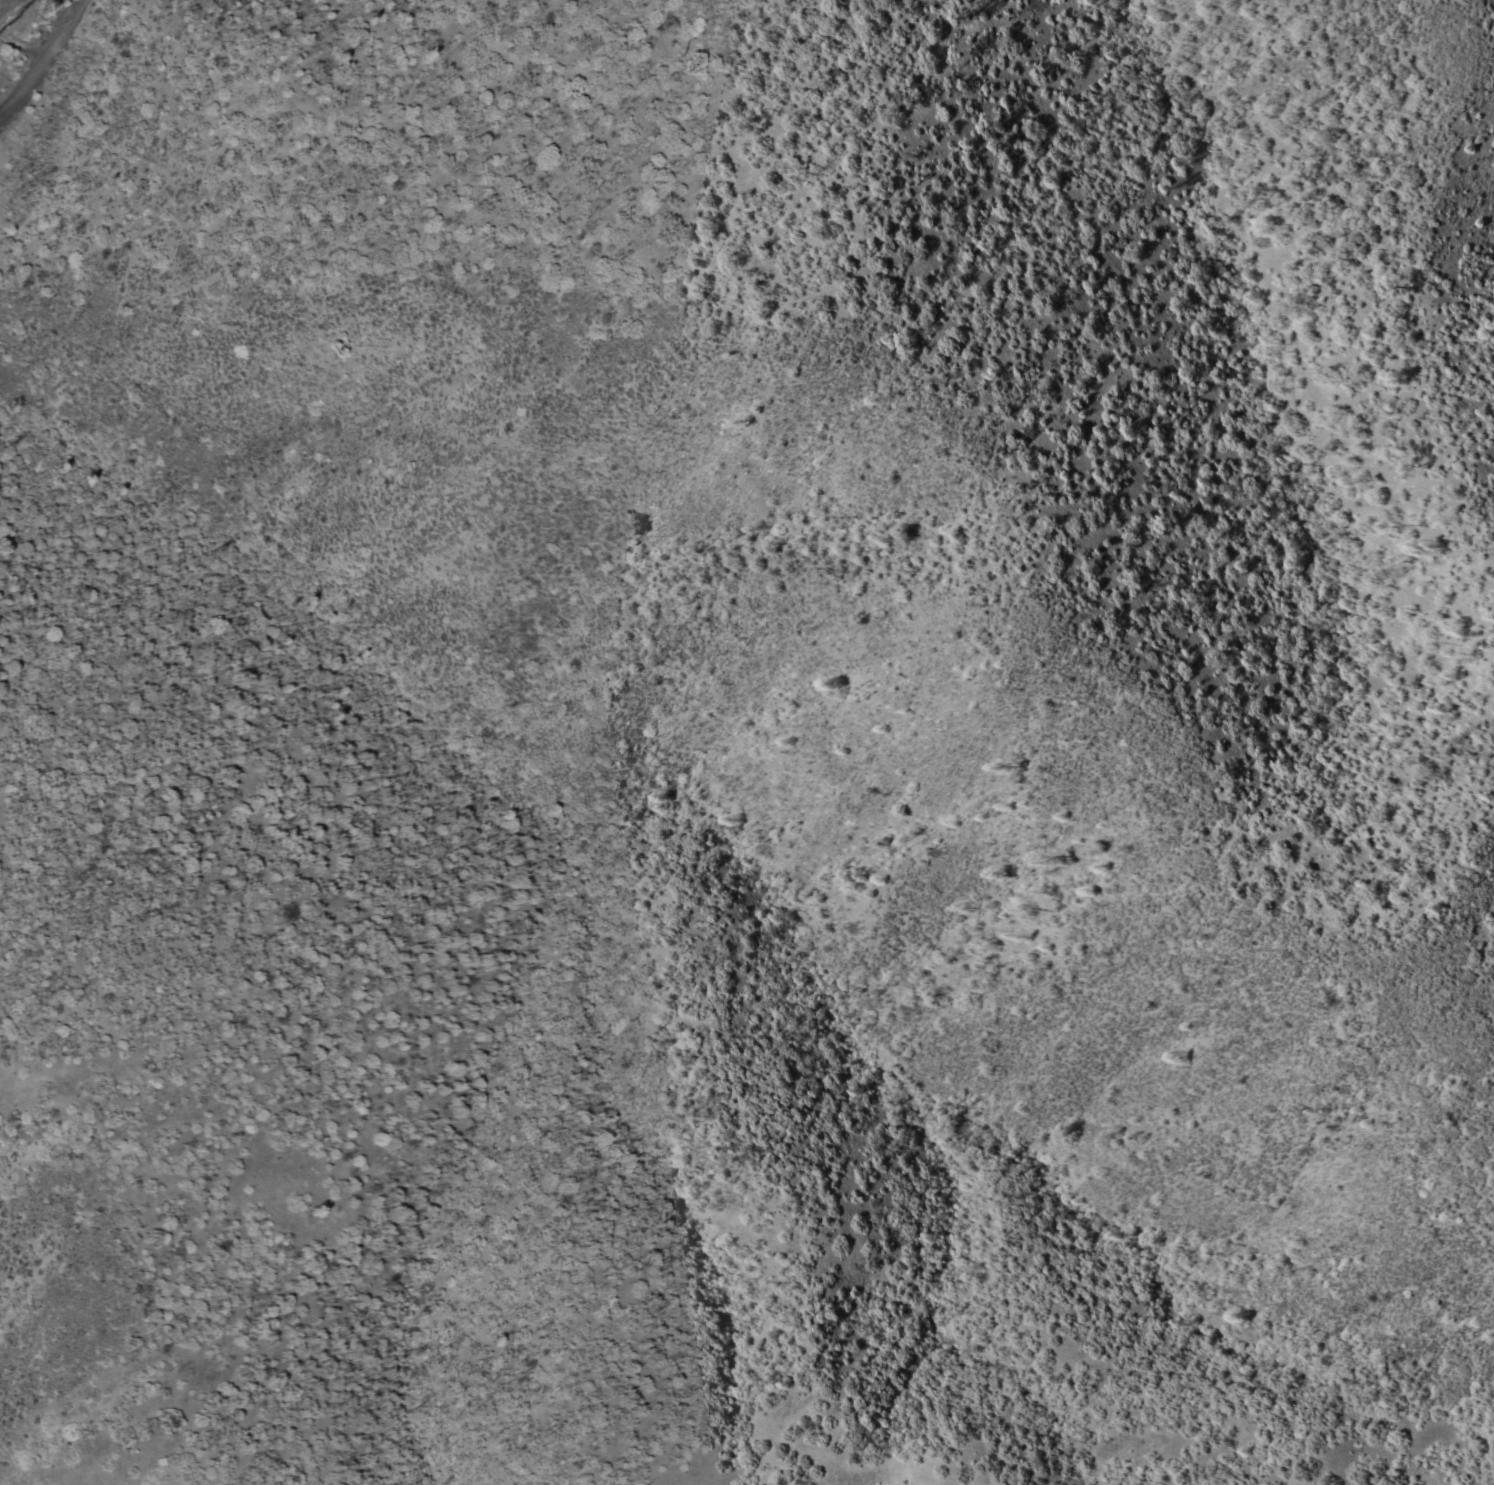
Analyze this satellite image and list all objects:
road: (36, 62)

